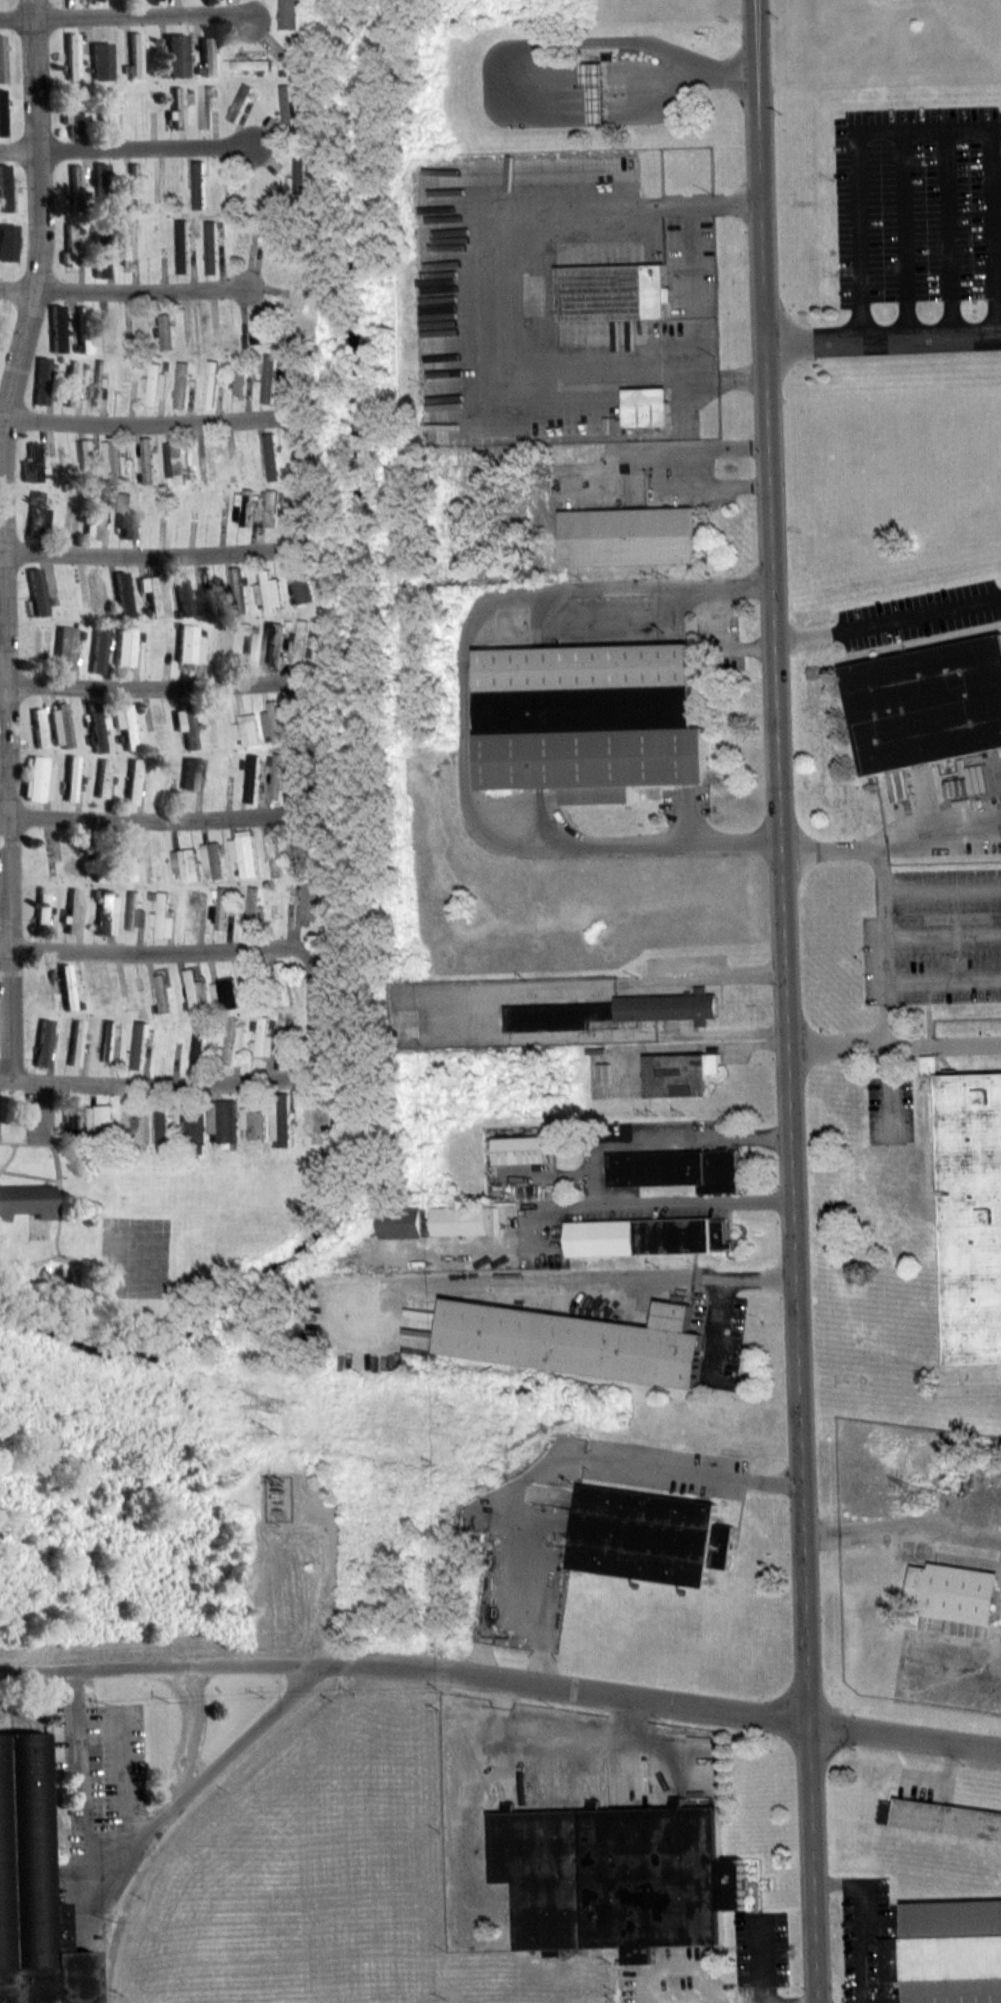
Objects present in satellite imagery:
road: (33, 2)
road: (34, 2)
road: (125, 15)
road: (558, 42)
road: (663, 107)
road: (606, 111)
road: (922, 128)
road: (127, 150)
road: (951, 231)
road: (909, 232)
road: (473, 290)
building: (616, 291)
road: (124, 292)
road: (883, 336)
road: (176, 422)
road: (681, 467)
building: (631, 536)
road: (0, 539)
road: (179, 554)
road: (887, 622)
road: (127, 688)
road: (300, 692)
building: (929, 704)
building: (595, 717)
road: (466, 723)
road: (184, 818)
road: (935, 835)
road: (881, 898)
road: (184, 952)
road: (782, 1001)
building: (615, 1011)
road: (892, 1043)
road: (314, 1059)
building: (680, 1073)
road: (137, 1084)
parking lot: (0, 1110)
parking lot: (39, 1111)
road: (662, 1136)
road: (13, 1143)
building: (521, 1149)
building: (678, 1168)
building: (27, 1200)
road: (678, 1204)
building: (958, 1210)
building: (461, 1221)
building: (403, 1222)
building: (647, 1238)
road: (591, 1280)
building: (577, 1342)
power tower: (275, 1403)
road: (700, 1474)
power substation: (278, 1498)
building: (647, 1536)
road: (513, 1541)
building: (954, 1590)
road: (486, 1620)
road: (502, 1679)
road: (191, 1732)
building: (941, 1816)
road: (149, 1831)
building: (35, 1877)
building: (616, 1877)
road: (851, 1882)
building: (947, 1951)
road: (860, 1958)
road: (729, 1999)

